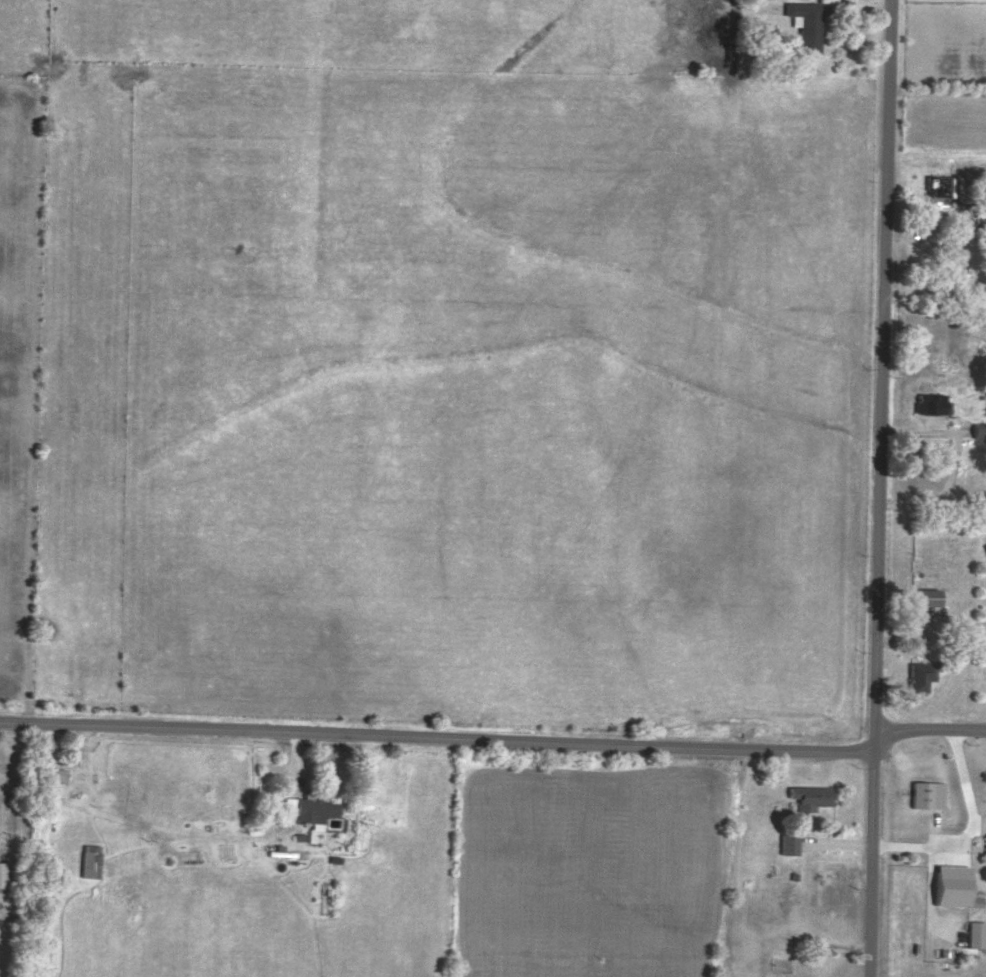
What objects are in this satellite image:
building: (807, 22)
building: (944, 186)
building: (980, 209)
building: (932, 403)
building: (979, 429)
road: (879, 488)
building: (985, 546)
building: (919, 597)
building: (921, 675)
road: (496, 738)
building: (928, 793)
building: (811, 795)
building: (310, 807)
road: (969, 831)
building: (790, 843)
building: (985, 851)
building: (90, 859)
building: (3, 873)
building: (951, 884)
building: (976, 933)

